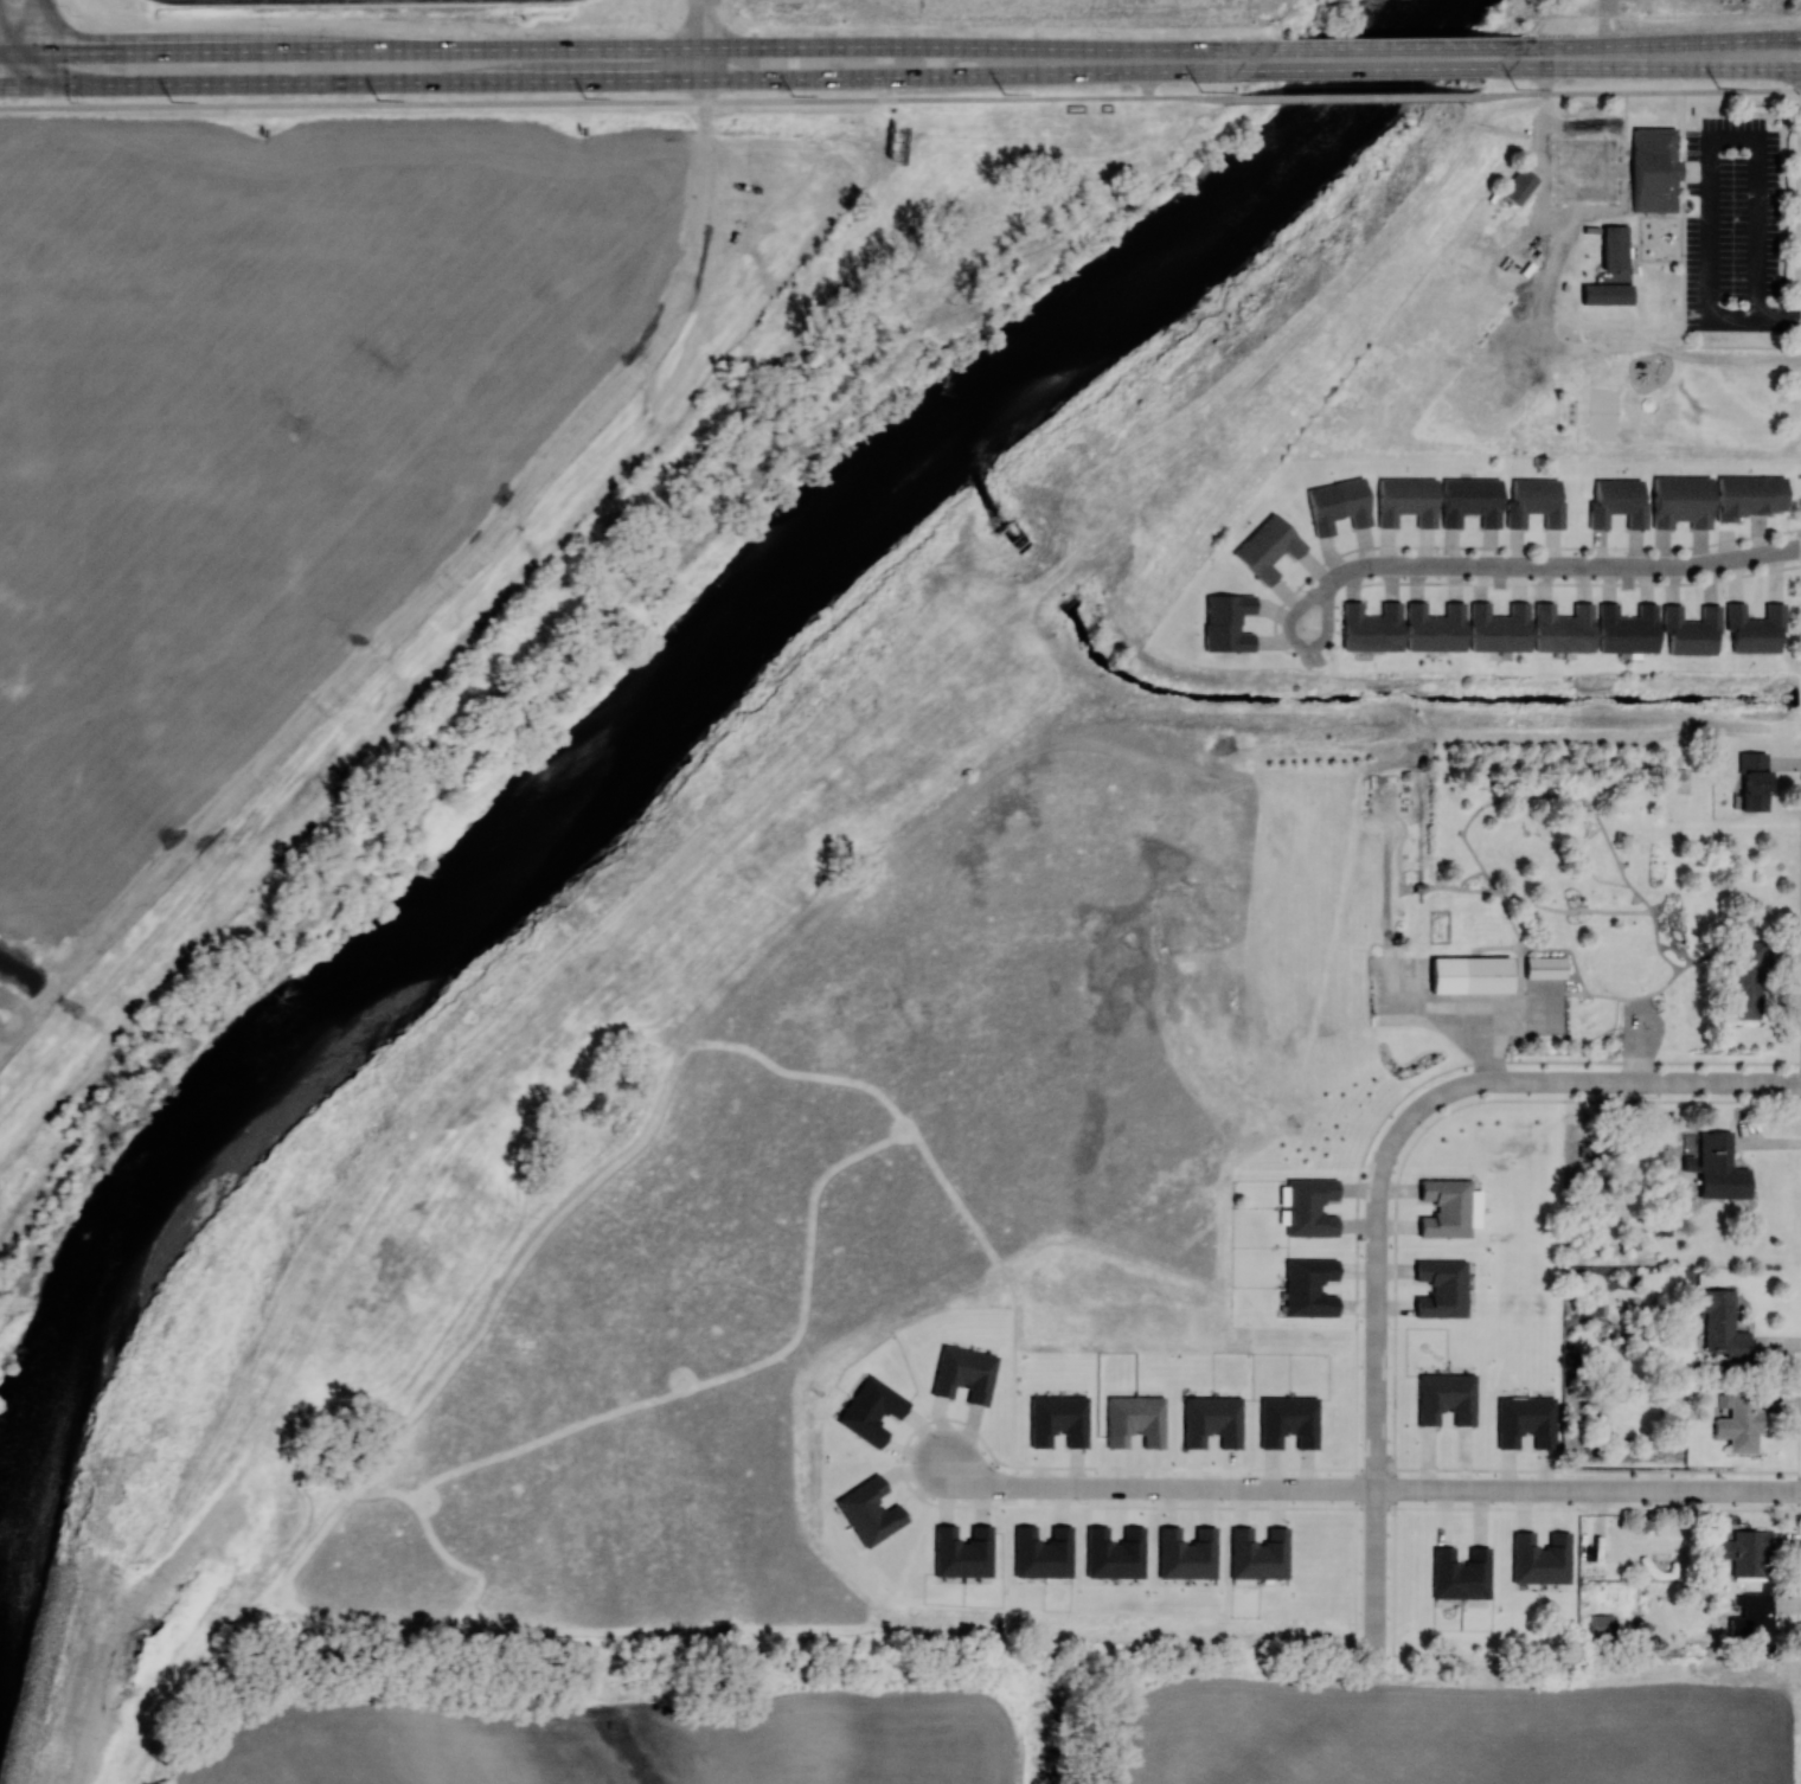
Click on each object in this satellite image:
road: (201, 0)
road: (703, 39)
road: (37, 43)
road: (1655, 44)
road: (1392, 47)
road: (655, 49)
road: (18, 53)
traffic signals: (37, 54)
road: (1376, 69)
road: (1647, 70)
road: (647, 81)
road: (18, 85)
traffic signals: (37, 85)
power tower: (1717, 85)
power tower: (1515, 88)
power tower: (1200, 90)
power tower: (1004, 92)
road: (1635, 92)
power tower: (791, 95)
power tower: (584, 97)
road: (1351, 97)
power tower: (377, 98)
power tower: (171, 100)
road: (616, 101)
building: (1654, 169)
building: (1678, 169)
building: (1518, 185)
building: (1614, 248)
road: (1711, 274)
building: (1605, 294)
park: (1665, 391)
building: (1748, 495)
building: (1405, 500)
building: (1469, 500)
building: (1680, 501)
building: (1533, 502)
building: (1616, 502)
building: (1337, 505)
building: (1267, 547)
road: (1540, 565)
building: (1226, 622)
building: (1370, 628)
building: (1434, 628)
building: (1499, 628)
building: (1562, 628)
building: (1754, 628)
building: (1626, 629)
building: (1690, 629)
river: (659, 691)
building: (1752, 779)
building: (1544, 967)
building: (1469, 974)
building: (1746, 981)
road: (1596, 1082)
building: (1717, 1167)
building: (1308, 1207)
building: (1448, 1207)
building: (1308, 1286)
building: (1441, 1288)
building: (1590, 1308)
building: (1720, 1324)
building: (963, 1373)
road: (1376, 1381)
building: (1446, 1398)
building: (870, 1410)
building: (1057, 1419)
building: (1134, 1420)
building: (1211, 1420)
building: (1288, 1422)
building: (1525, 1422)
building: (1737, 1423)
road: (1158, 1485)
road: (1588, 1488)
building: (869, 1512)
building: (962, 1552)
building: (1041, 1552)
building: (1744, 1552)
building: (1114, 1553)
building: (1186, 1553)
building: (1257, 1553)
building: (1539, 1558)
building: (1460, 1573)
building: (1756, 1621)
building: (1601, 1624)

